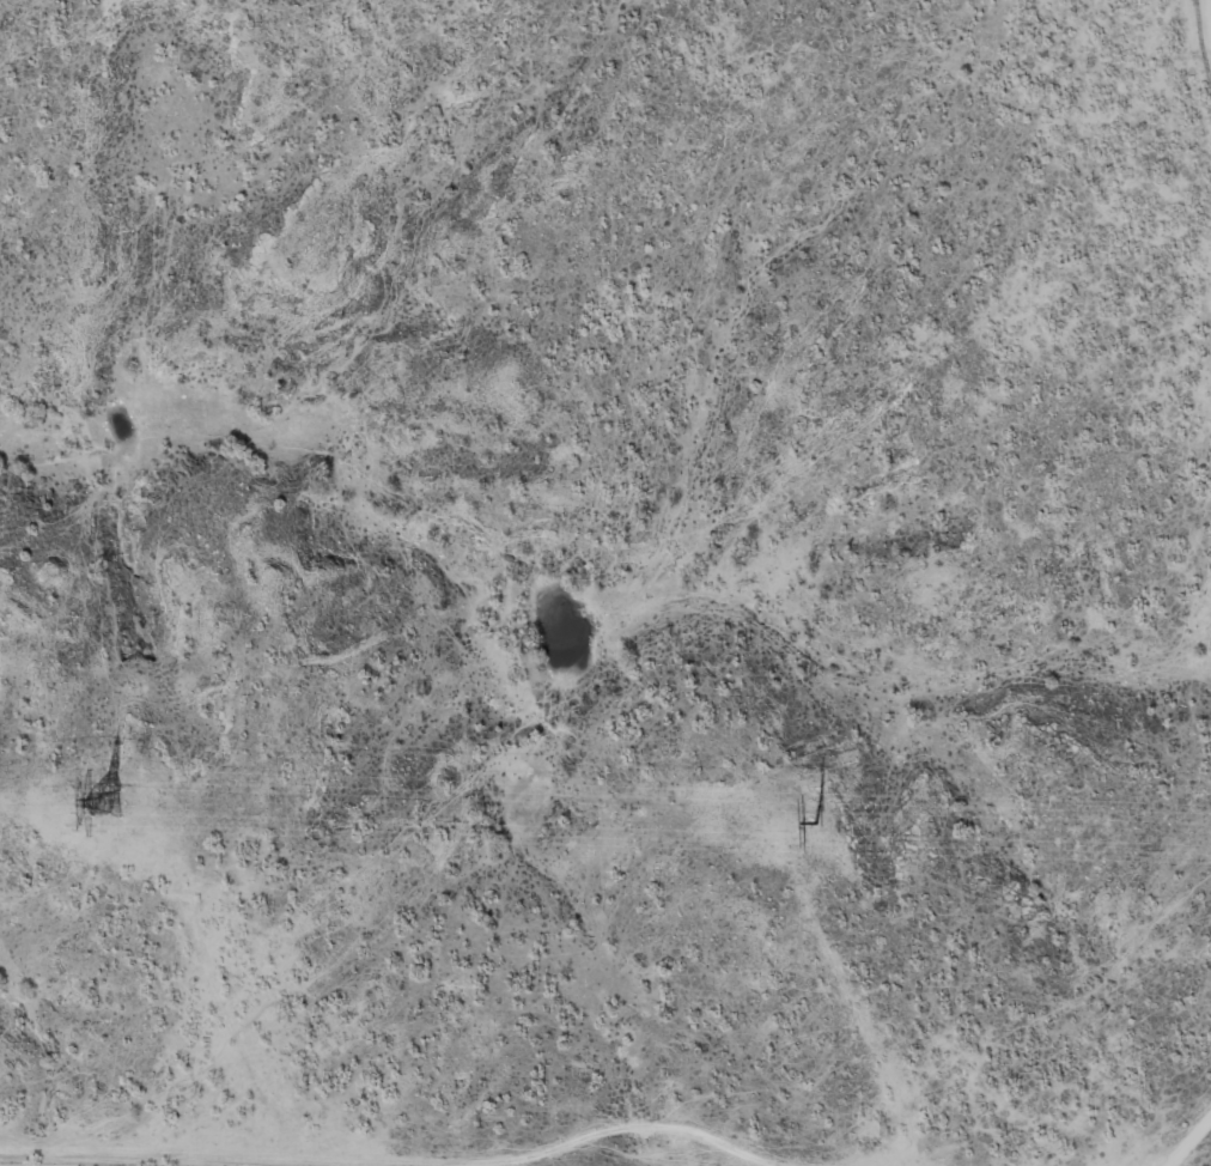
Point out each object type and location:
road: (1209, 11)
power tower: (108, 801)
power tower: (815, 821)
road: (1188, 1136)

